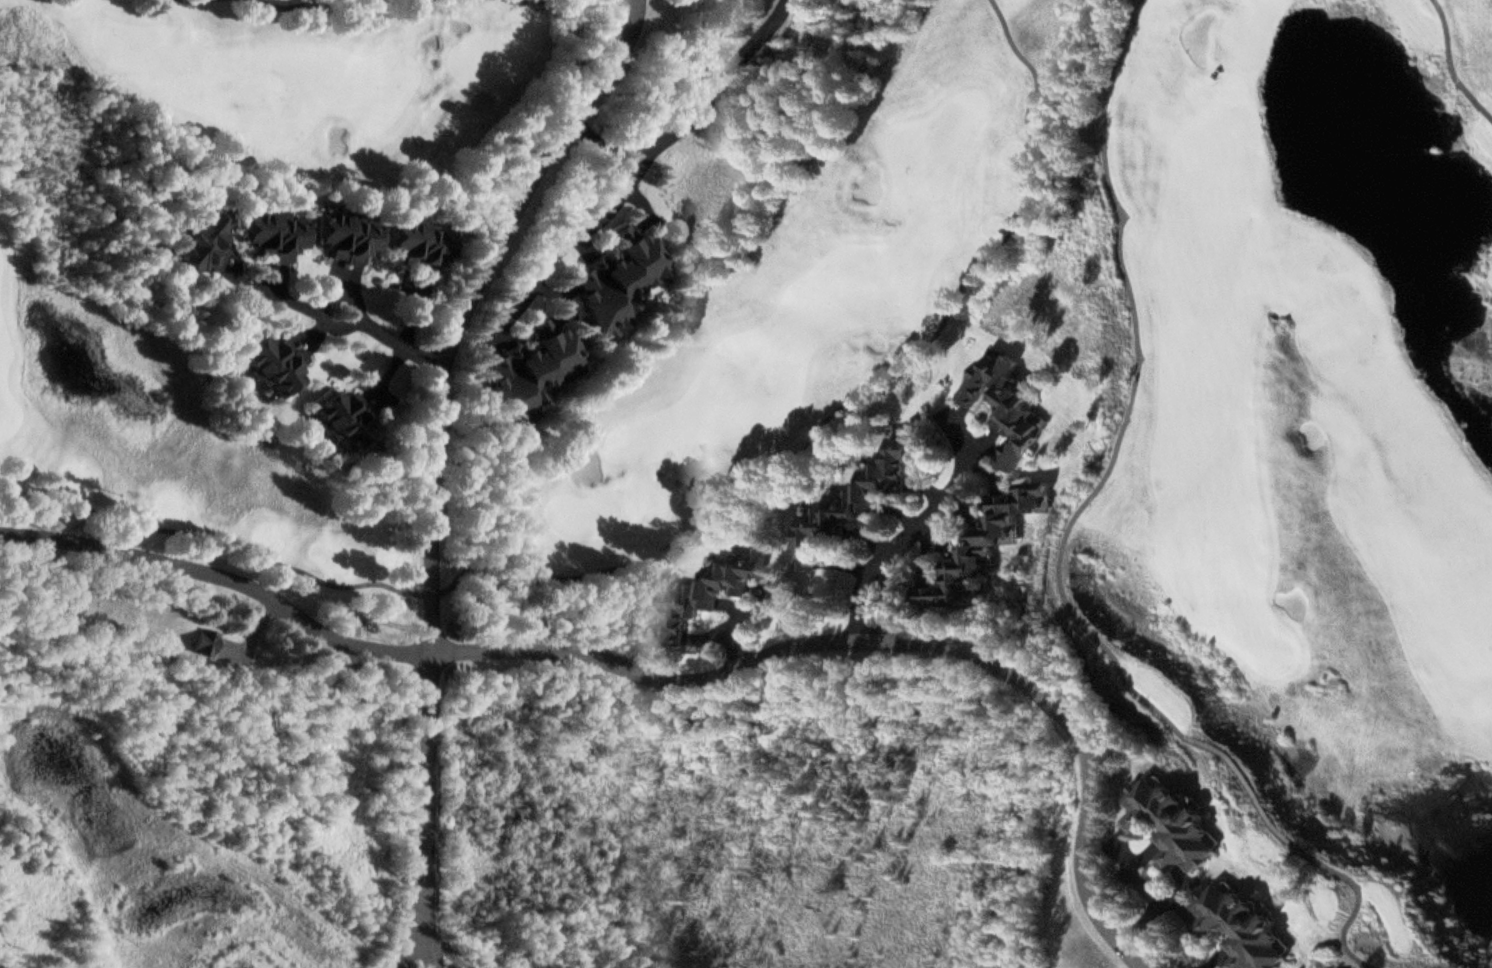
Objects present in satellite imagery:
park: (1246, 31)
road: (1451, 64)
road: (689, 118)
building: (276, 233)
building: (348, 236)
building: (201, 241)
building: (420, 244)
road: (556, 249)
building: (619, 279)
road: (391, 340)
park: (820, 347)
building: (275, 364)
building: (532, 371)
building: (1007, 406)
road: (433, 417)
building: (345, 419)
building: (589, 465)
road: (949, 494)
building: (854, 500)
building: (983, 547)
road: (1058, 550)
road: (882, 558)
building: (713, 590)
road: (738, 622)
building: (205, 641)
road: (435, 653)
road: (1085, 746)
building: (1175, 825)
road: (428, 927)
road: (414, 928)
building: (1239, 928)

